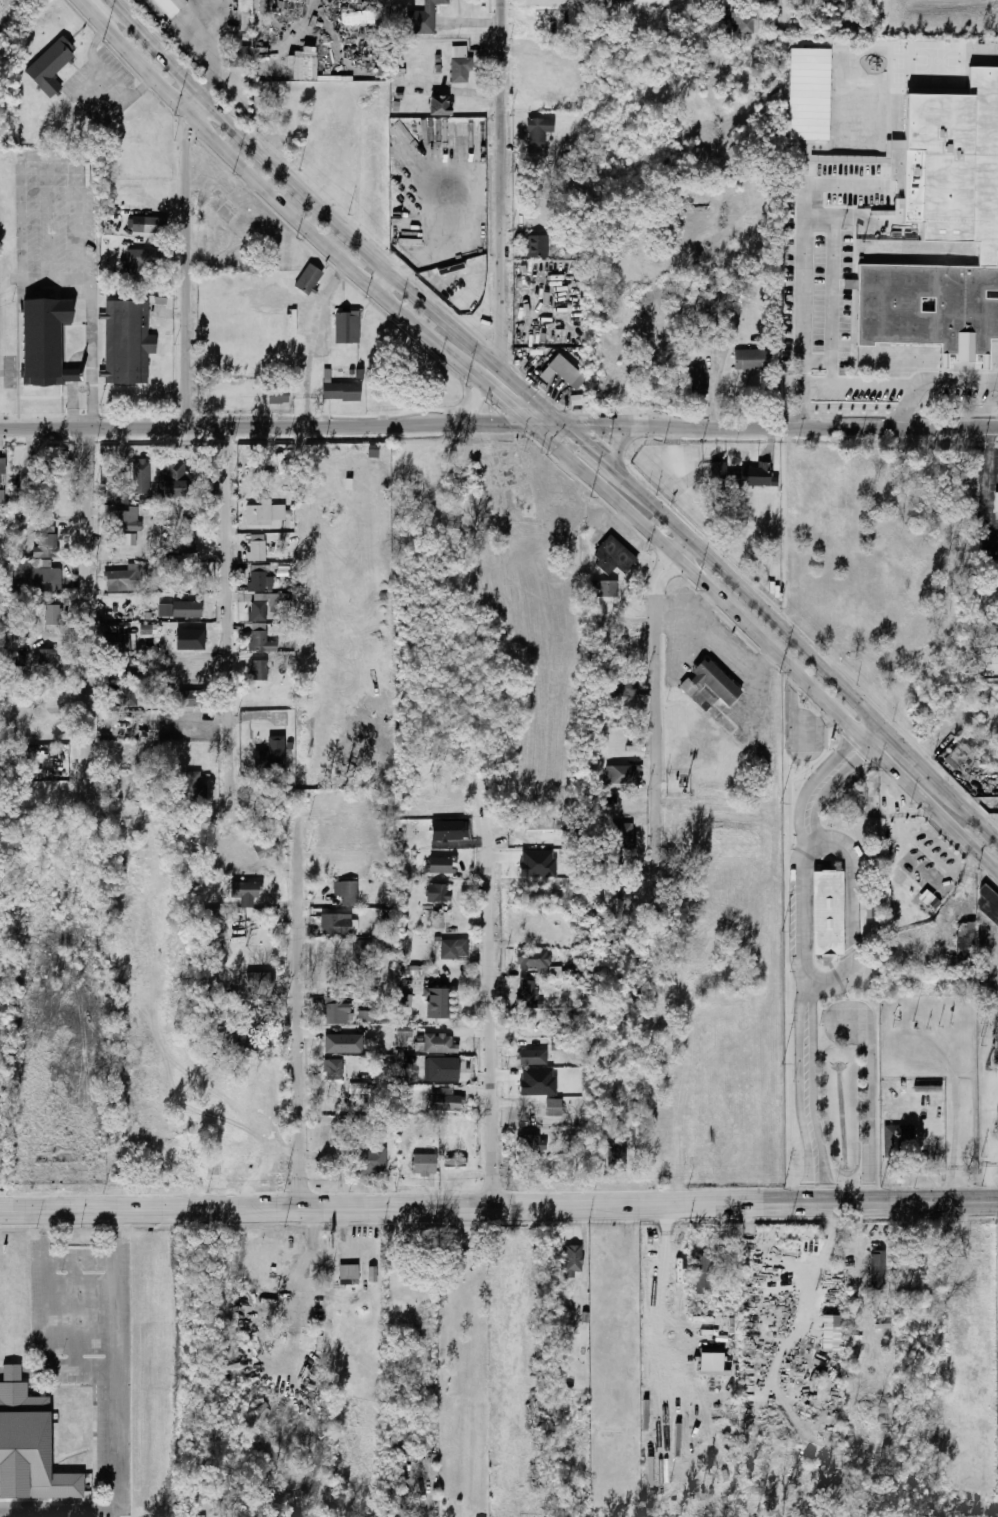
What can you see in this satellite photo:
building: (168, 6)
building: (368, 17)
building: (421, 18)
building: (743, 23)
building: (723, 26)
road: (793, 31)
road: (186, 45)
building: (239, 53)
building: (49, 66)
building: (458, 69)
building: (809, 95)
building: (438, 106)
building: (536, 130)
road: (499, 181)
road: (334, 216)
road: (296, 219)
building: (143, 224)
building: (942, 228)
road: (803, 234)
building: (535, 246)
road: (185, 260)
building: (135, 261)
building: (307, 279)
building: (731, 325)
building: (346, 328)
building: (43, 343)
building: (124, 343)
road: (312, 343)
road: (92, 357)
building: (748, 359)
building: (558, 369)
road: (953, 378)
building: (696, 382)
road: (855, 383)
building: (338, 390)
building: (276, 396)
road: (909, 404)
road: (470, 408)
road: (500, 425)
traffic signals: (527, 425)
road: (546, 425)
traffic signals: (566, 425)
road: (458, 426)
road: (606, 426)
road: (822, 426)
road: (221, 428)
road: (619, 442)
building: (54, 462)
building: (1, 466)
building: (755, 476)
building: (138, 477)
building: (173, 478)
road: (988, 489)
building: (256, 516)
building: (592, 517)
building: (125, 520)
building: (120, 539)
building: (43, 540)
building: (181, 544)
building: (255, 548)
building: (612, 556)
road: (724, 574)
building: (33, 577)
road: (698, 579)
building: (121, 580)
building: (255, 580)
building: (605, 589)
building: (278, 598)
building: (183, 609)
building: (255, 609)
building: (51, 614)
road: (229, 618)
road: (88, 621)
building: (191, 637)
building: (258, 639)
building: (121, 642)
building: (43, 658)
building: (119, 670)
building: (257, 670)
road: (780, 671)
building: (712, 682)
road: (793, 684)
building: (616, 687)
building: (121, 695)
building: (188, 698)
road: (811, 702)
road: (658, 710)
road: (827, 718)
road: (798, 720)
road: (836, 727)
road: (787, 729)
road: (871, 735)
road: (857, 747)
road: (824, 751)
building: (269, 754)
building: (956, 755)
road: (795, 759)
road: (916, 764)
building: (620, 773)
building: (123, 782)
building: (192, 785)
road: (817, 788)
road: (790, 799)
road: (928, 806)
road: (975, 821)
building: (539, 823)
road: (935, 825)
building: (623, 836)
road: (792, 845)
building: (263, 846)
road: (805, 853)
building: (537, 863)
building: (608, 863)
building: (439, 865)
road: (821, 866)
road: (995, 872)
building: (243, 889)
building: (436, 893)
building: (347, 894)
building: (615, 898)
building: (988, 903)
road: (826, 912)
road: (798, 913)
building: (825, 913)
road: (851, 916)
building: (439, 920)
road: (826, 920)
building: (333, 925)
building: (216, 928)
building: (963, 940)
building: (452, 948)
building: (361, 956)
building: (531, 960)
building: (256, 980)
road: (839, 980)
building: (528, 995)
building: (402, 1000)
road: (830, 1001)
building: (436, 1004)
building: (336, 1014)
road: (299, 1015)
building: (366, 1015)
road: (495, 1016)
building: (404, 1031)
building: (330, 1041)
building: (240, 1043)
building: (439, 1043)
building: (531, 1058)
building: (331, 1069)
building: (439, 1069)
building: (537, 1081)
building: (358, 1088)
road: (804, 1092)
power substation: (986, 1097)
building: (444, 1100)
road: (867, 1103)
building: (551, 1107)
building: (898, 1139)
road: (876, 1142)
building: (530, 1145)
building: (615, 1157)
building: (367, 1158)
building: (453, 1162)
building: (423, 1164)
building: (212, 1169)
road: (817, 1188)
road: (859, 1188)
road: (395, 1194)
road: (907, 1201)
road: (742, 1204)
road: (333, 1209)
road: (665, 1245)
road: (57, 1255)
building: (571, 1261)
building: (921, 1263)
building: (875, 1269)
building: (348, 1271)
road: (818, 1272)
building: (702, 1275)
building: (831, 1332)
road: (113, 1414)
building: (27, 1445)

